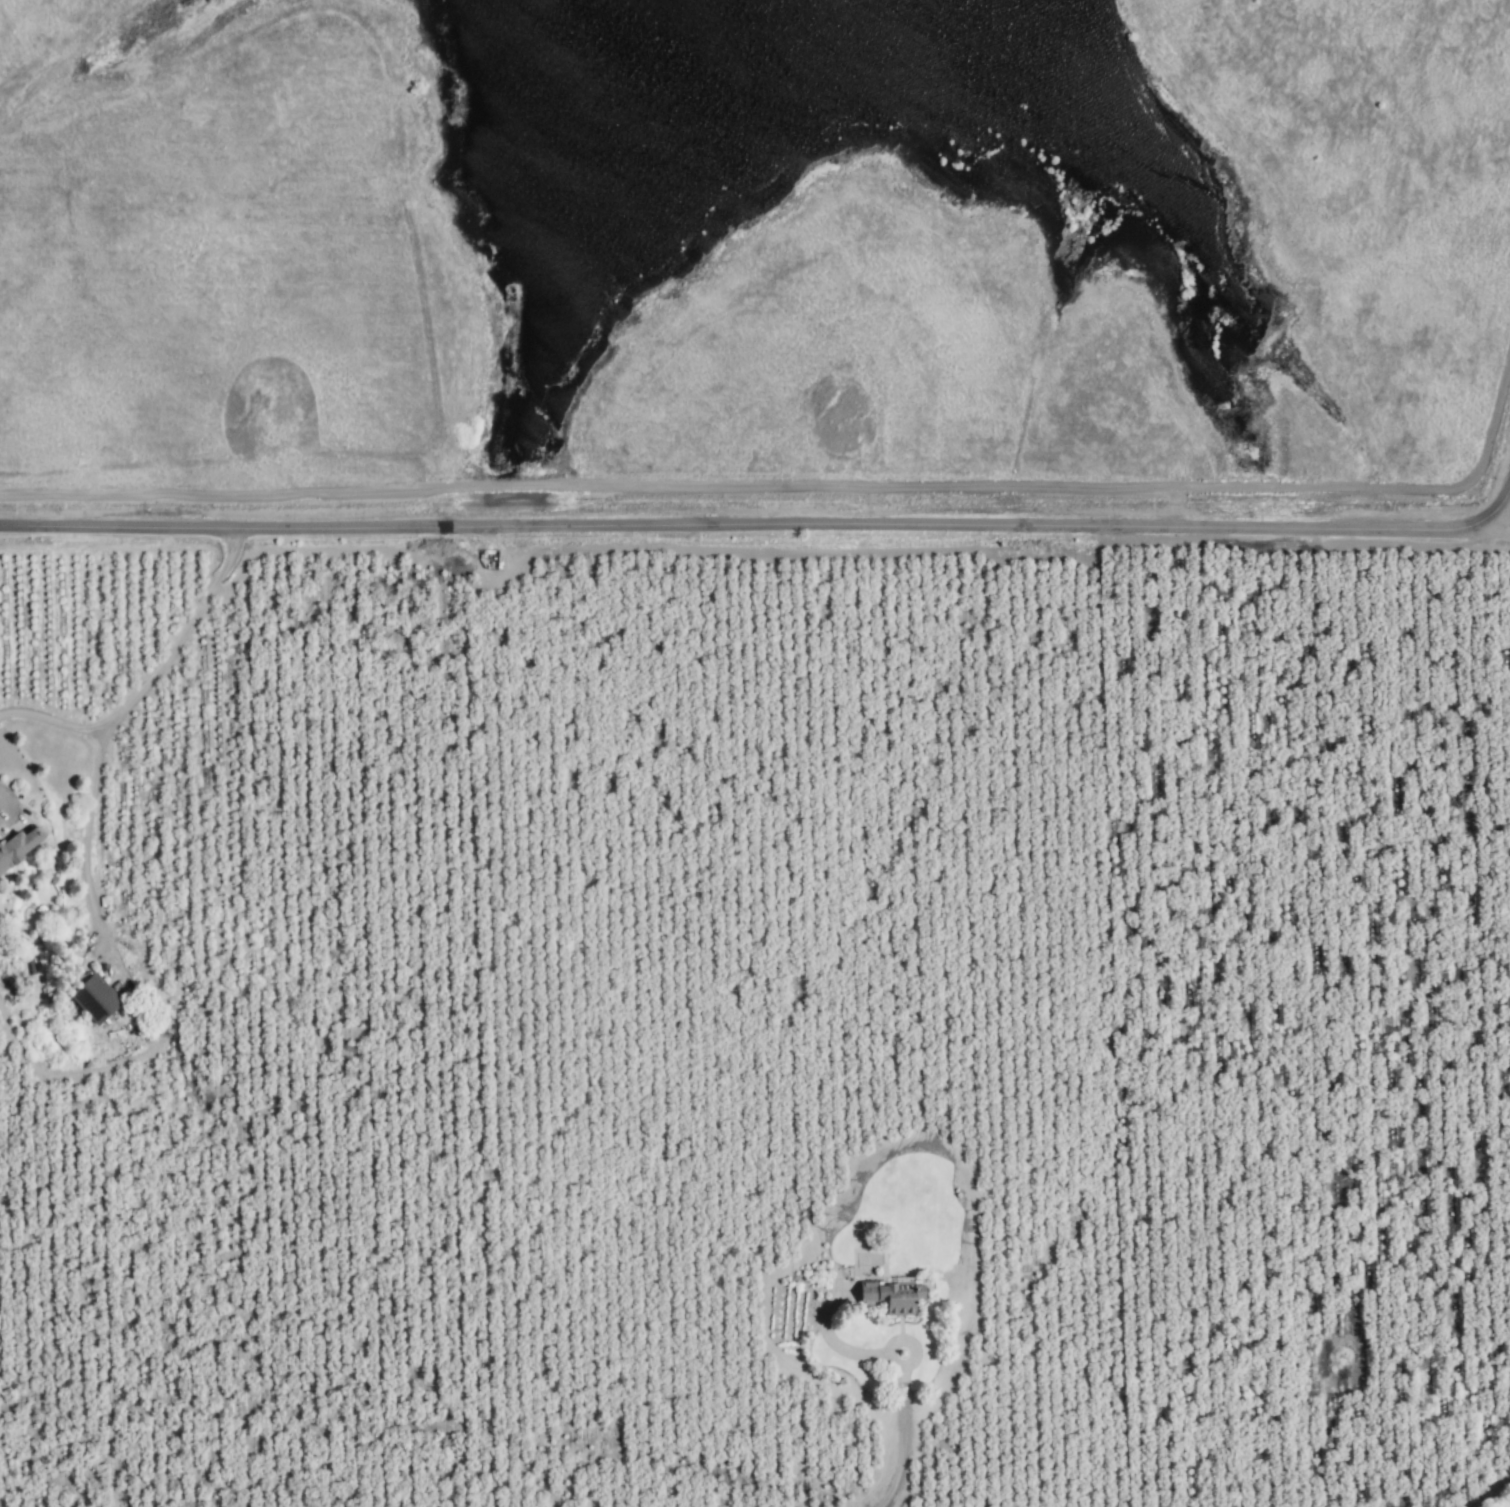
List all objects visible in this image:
road: (772, 525)
road: (1500, 526)
road: (111, 716)
road: (49, 719)
building: (18, 848)
building: (96, 999)
crop: (754, 1026)
building: (891, 1292)
road: (899, 1375)

